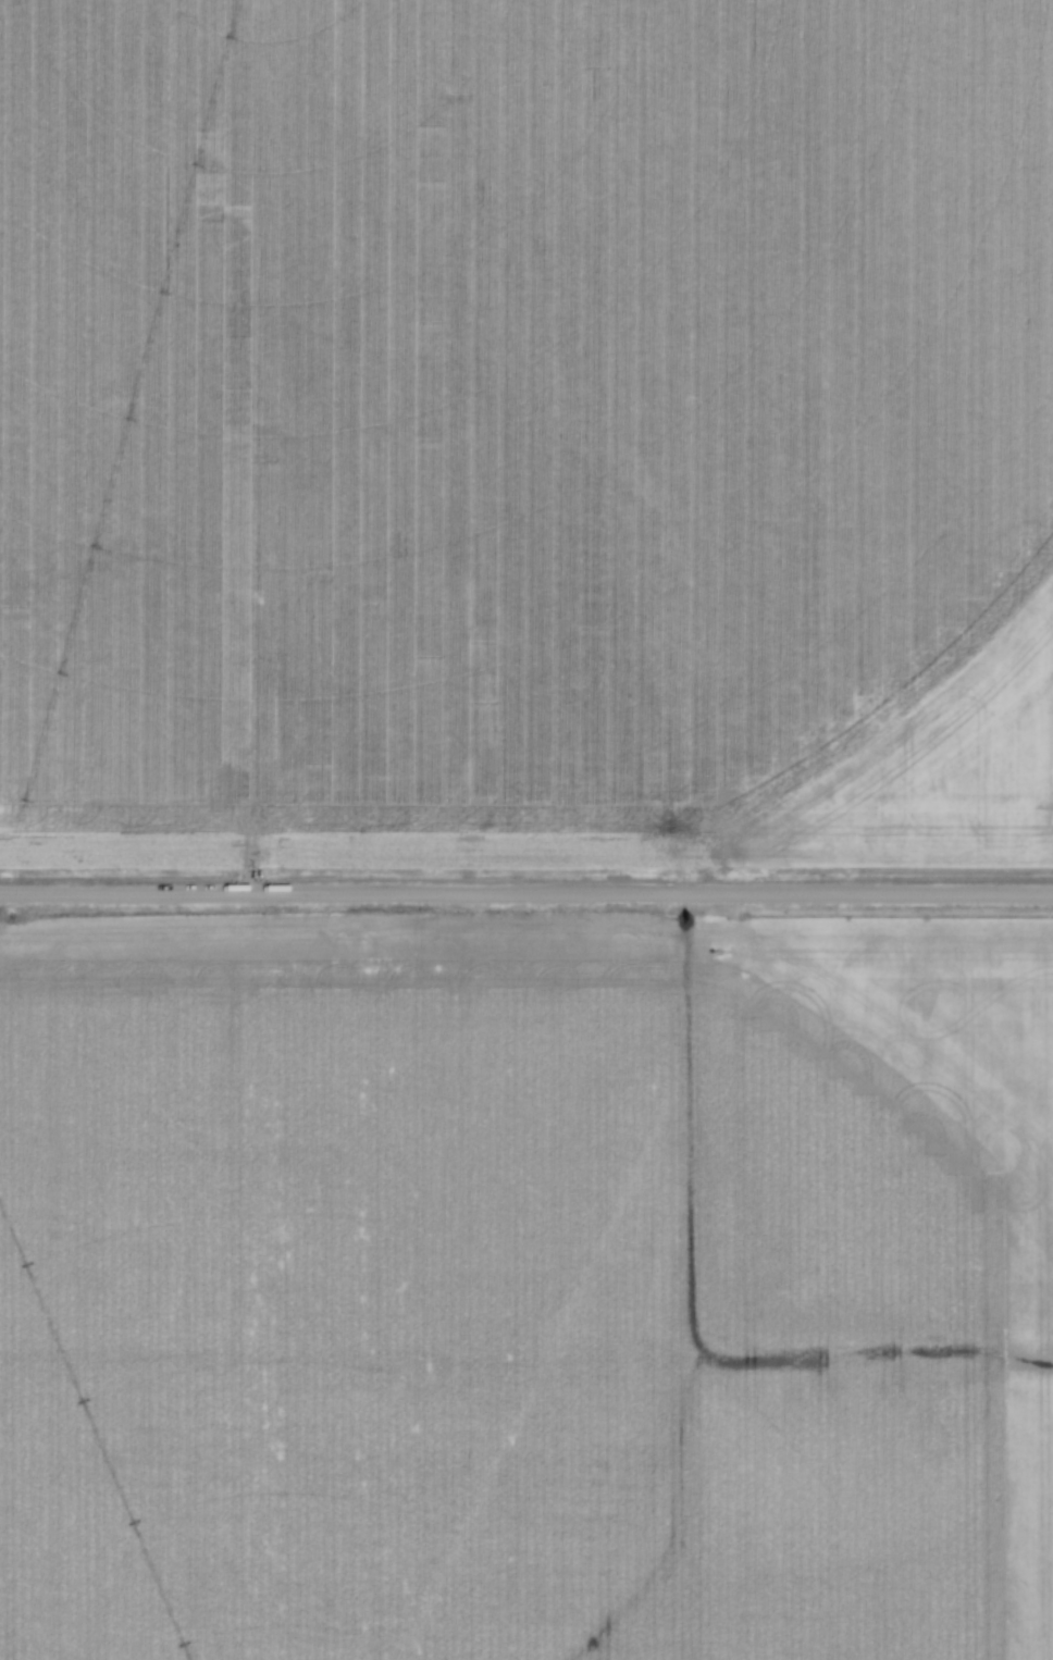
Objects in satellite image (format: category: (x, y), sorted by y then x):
road: (525, 900)

